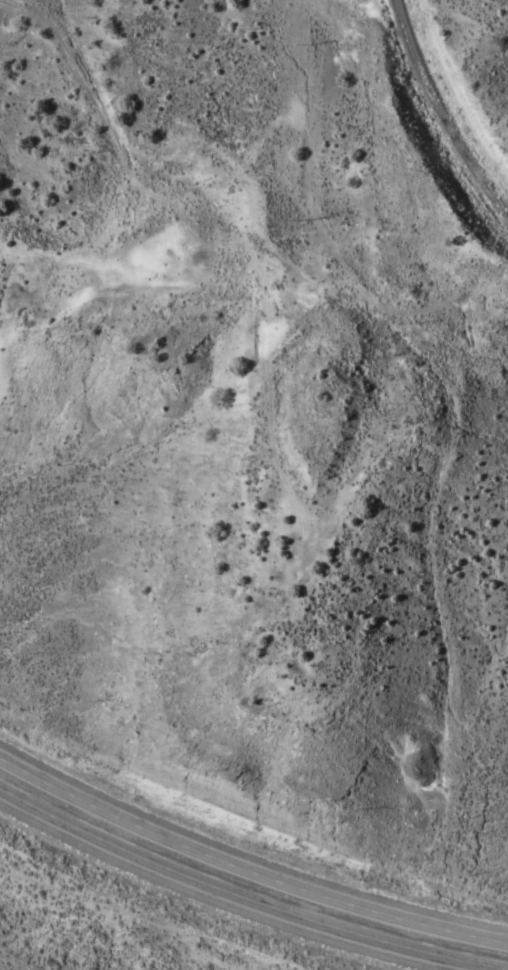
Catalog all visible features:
railway: (440, 114)
road: (246, 867)
road: (239, 897)

